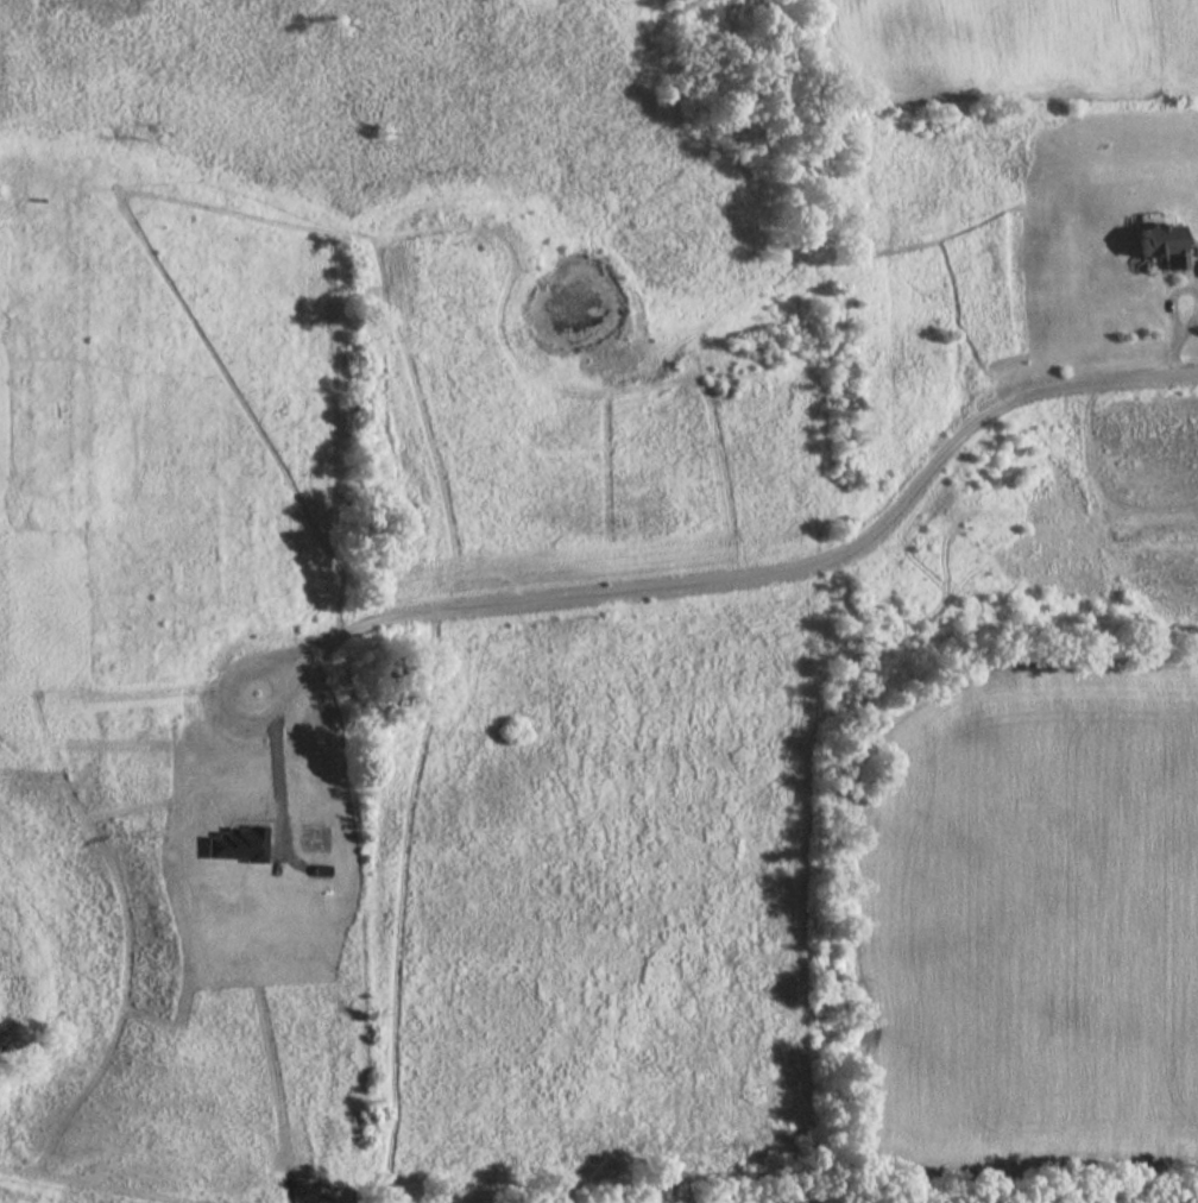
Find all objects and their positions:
building: (1155, 244)
road: (745, 577)
crop: (1034, 928)

